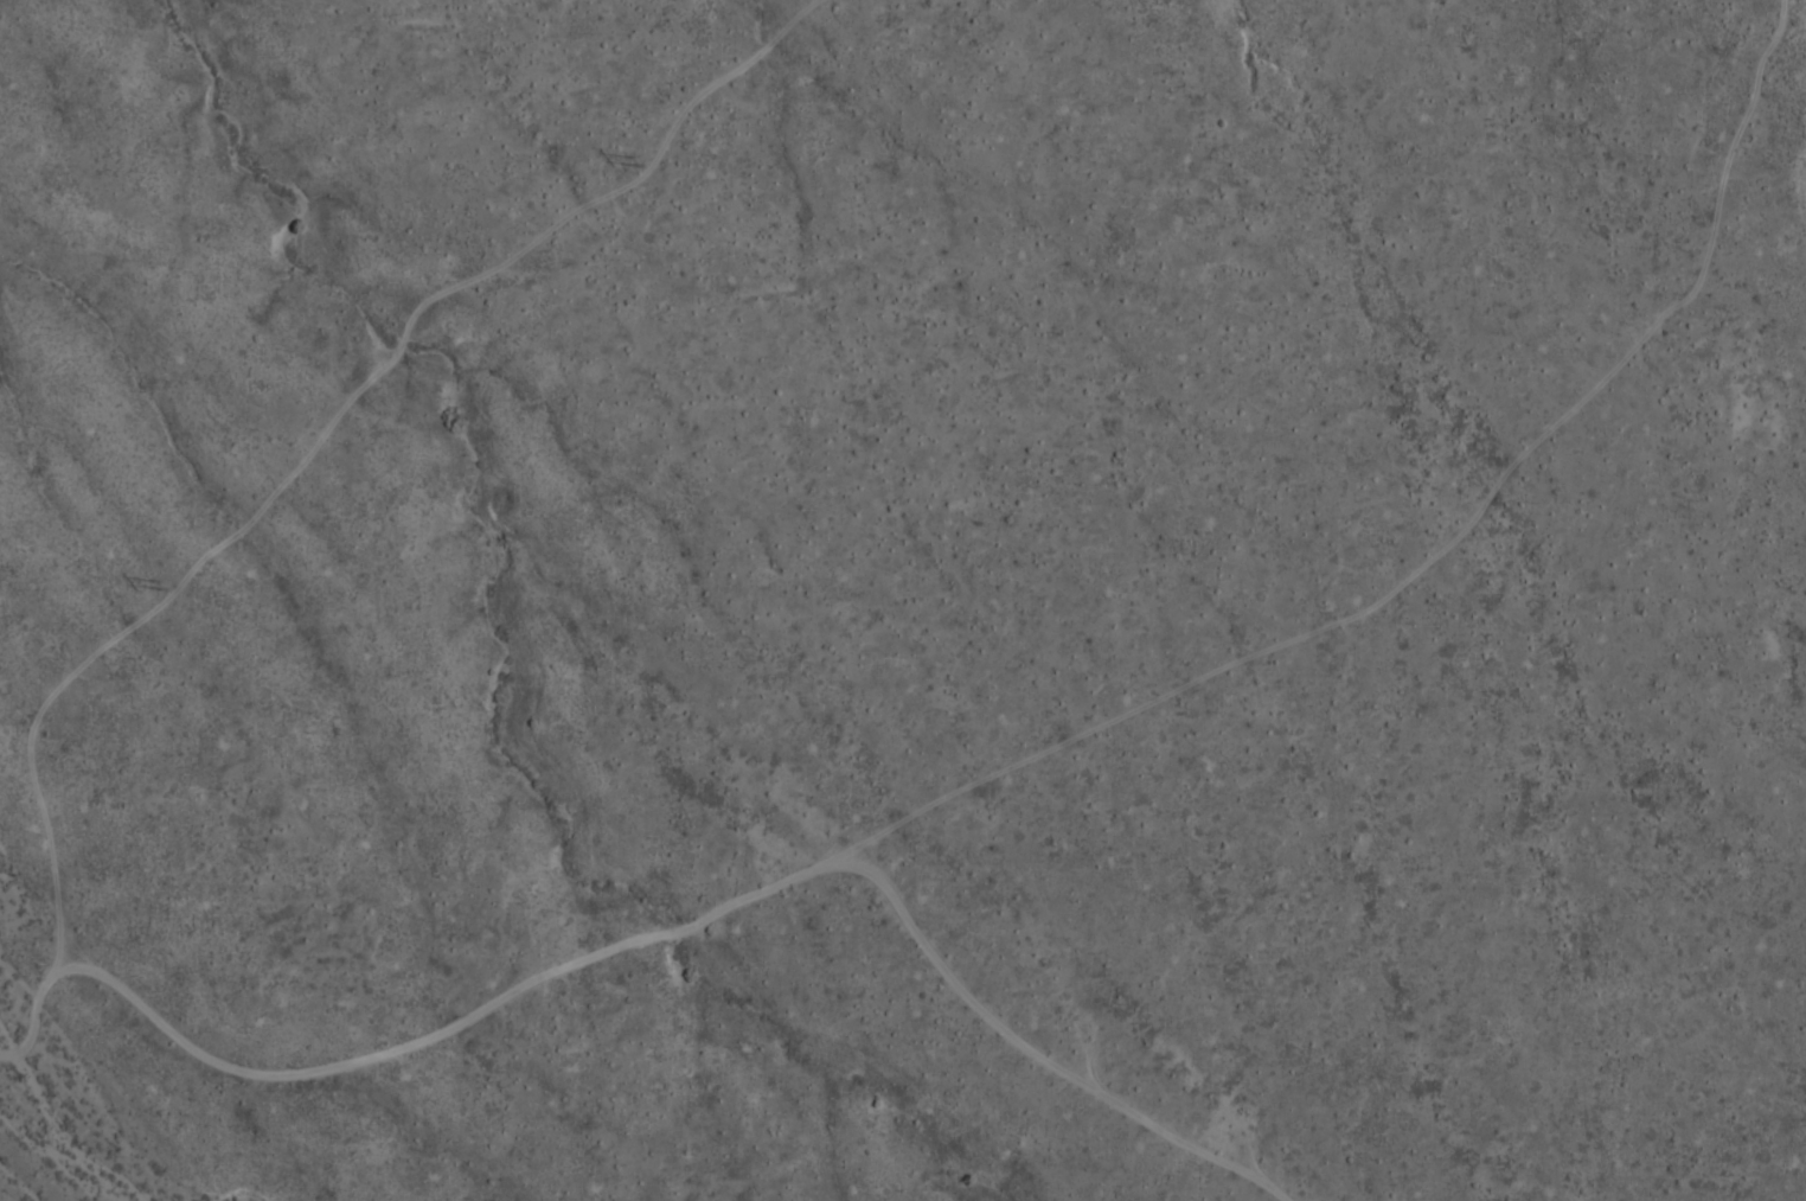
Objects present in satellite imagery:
power tower: (642, 162)
power tower: (160, 583)

